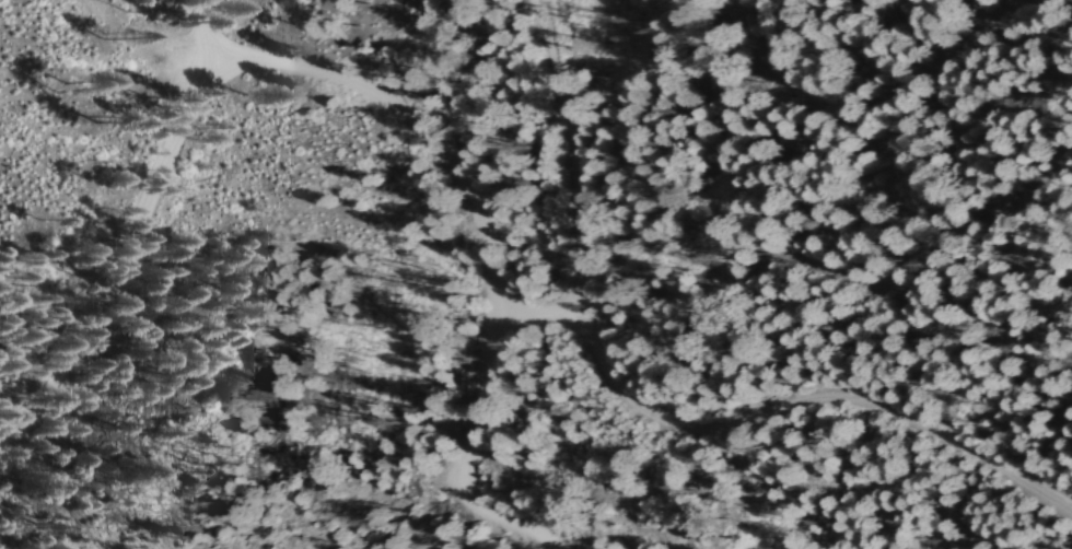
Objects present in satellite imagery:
road: (132, 236)
road: (485, 238)
road: (531, 307)
road: (633, 411)

